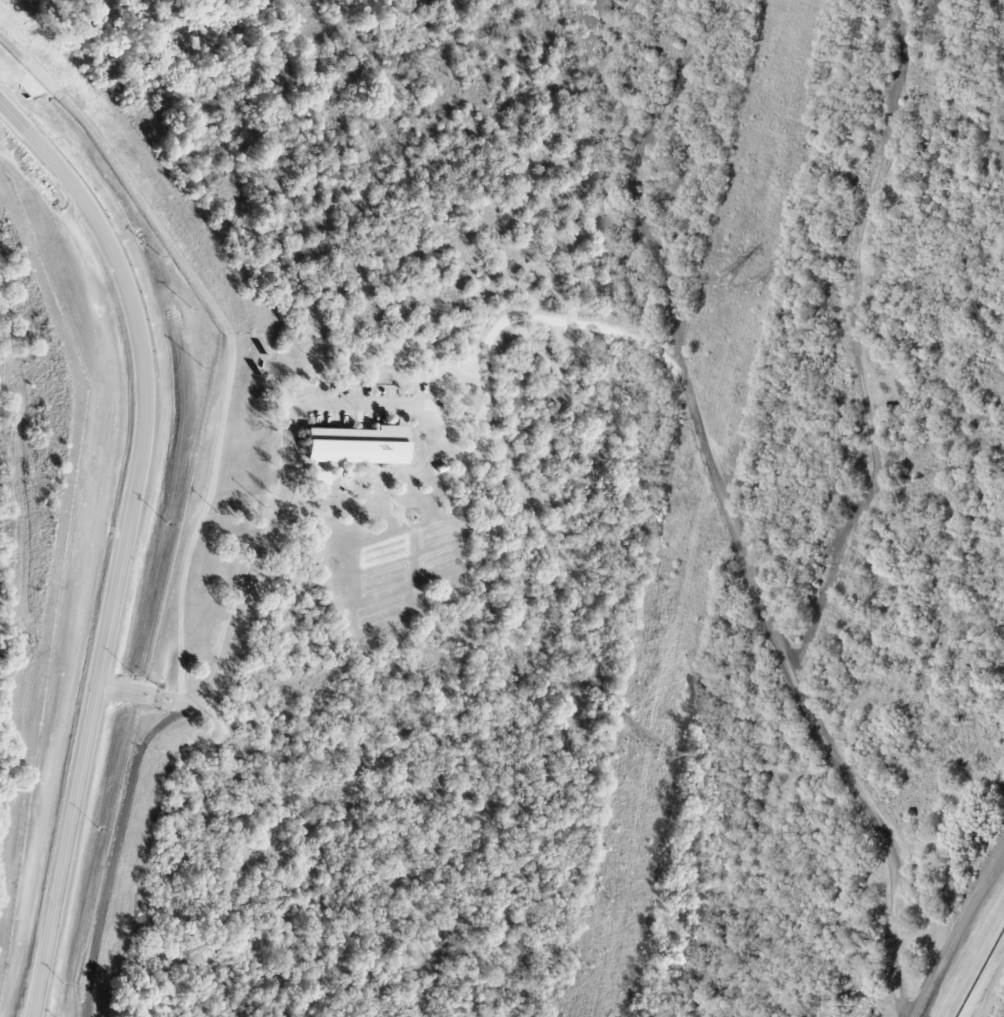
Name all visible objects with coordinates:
road: (640, 179)
power tower: (716, 277)
power tower: (753, 284)
road: (401, 415)
building: (358, 445)
road: (400, 445)
building: (318, 478)
road: (196, 498)
road: (279, 508)
road: (734, 526)
road: (125, 542)
power tower: (631, 750)
power tower: (668, 757)
road: (961, 935)

